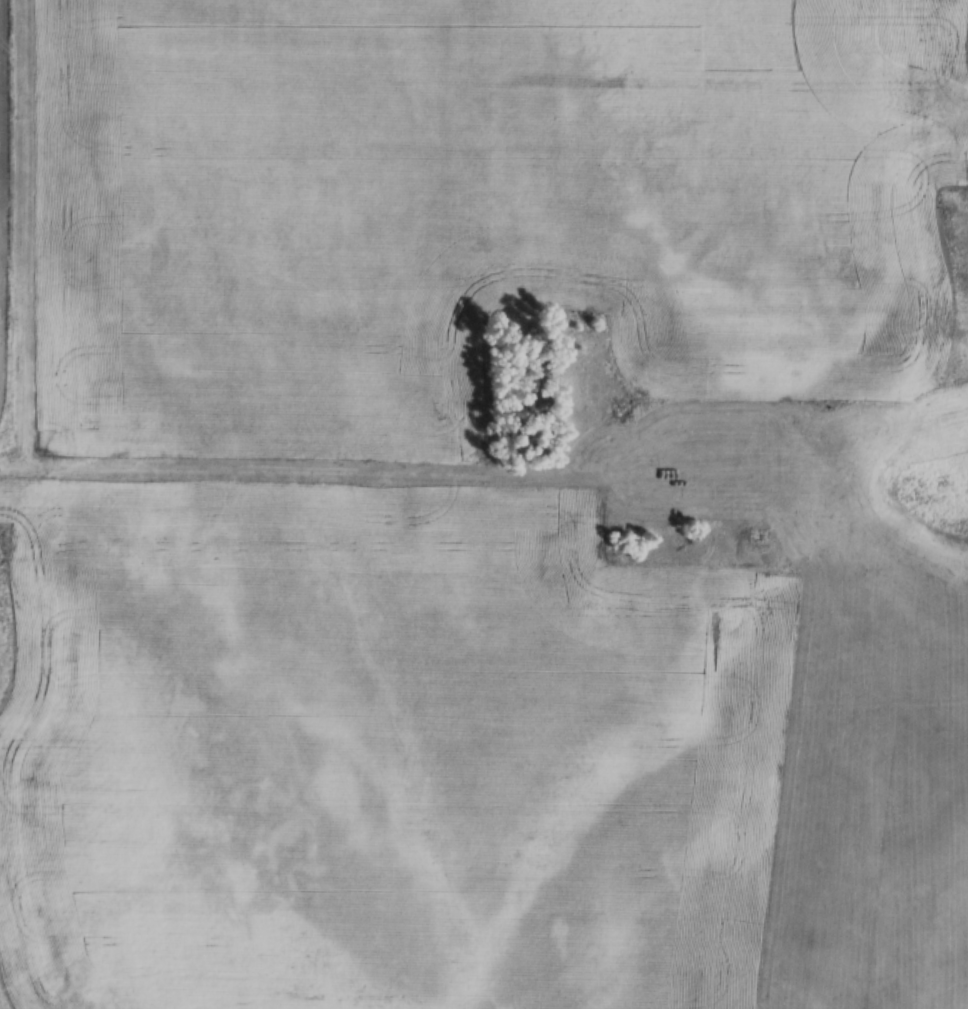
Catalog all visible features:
building: (888, 807)

